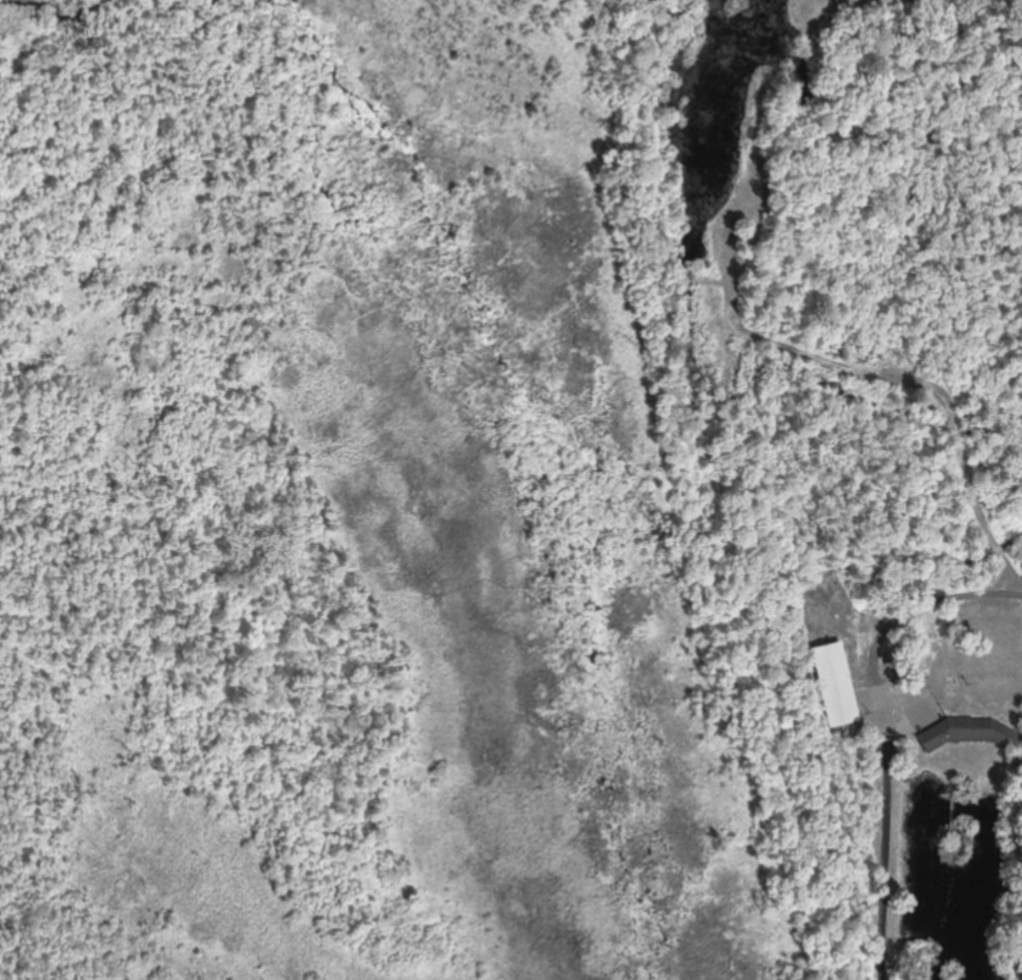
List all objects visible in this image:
building: (836, 684)
building: (969, 734)

